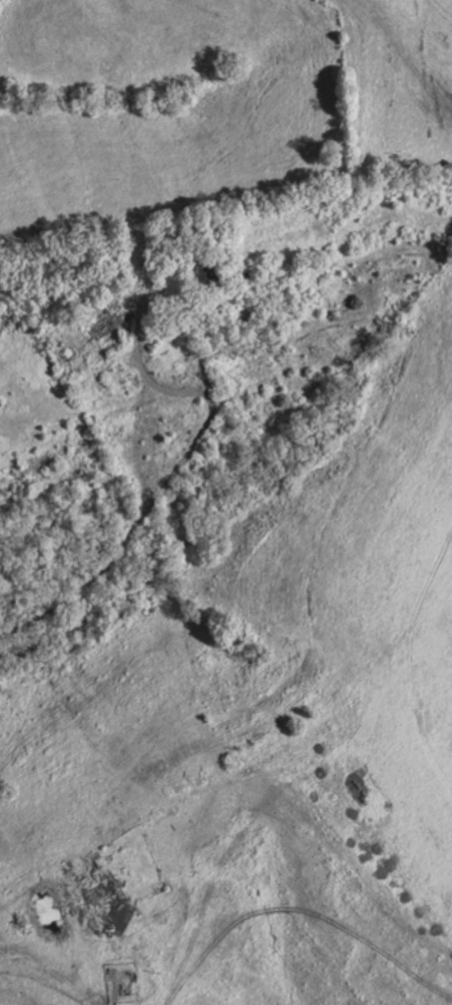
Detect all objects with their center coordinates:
road: (197, 623)

